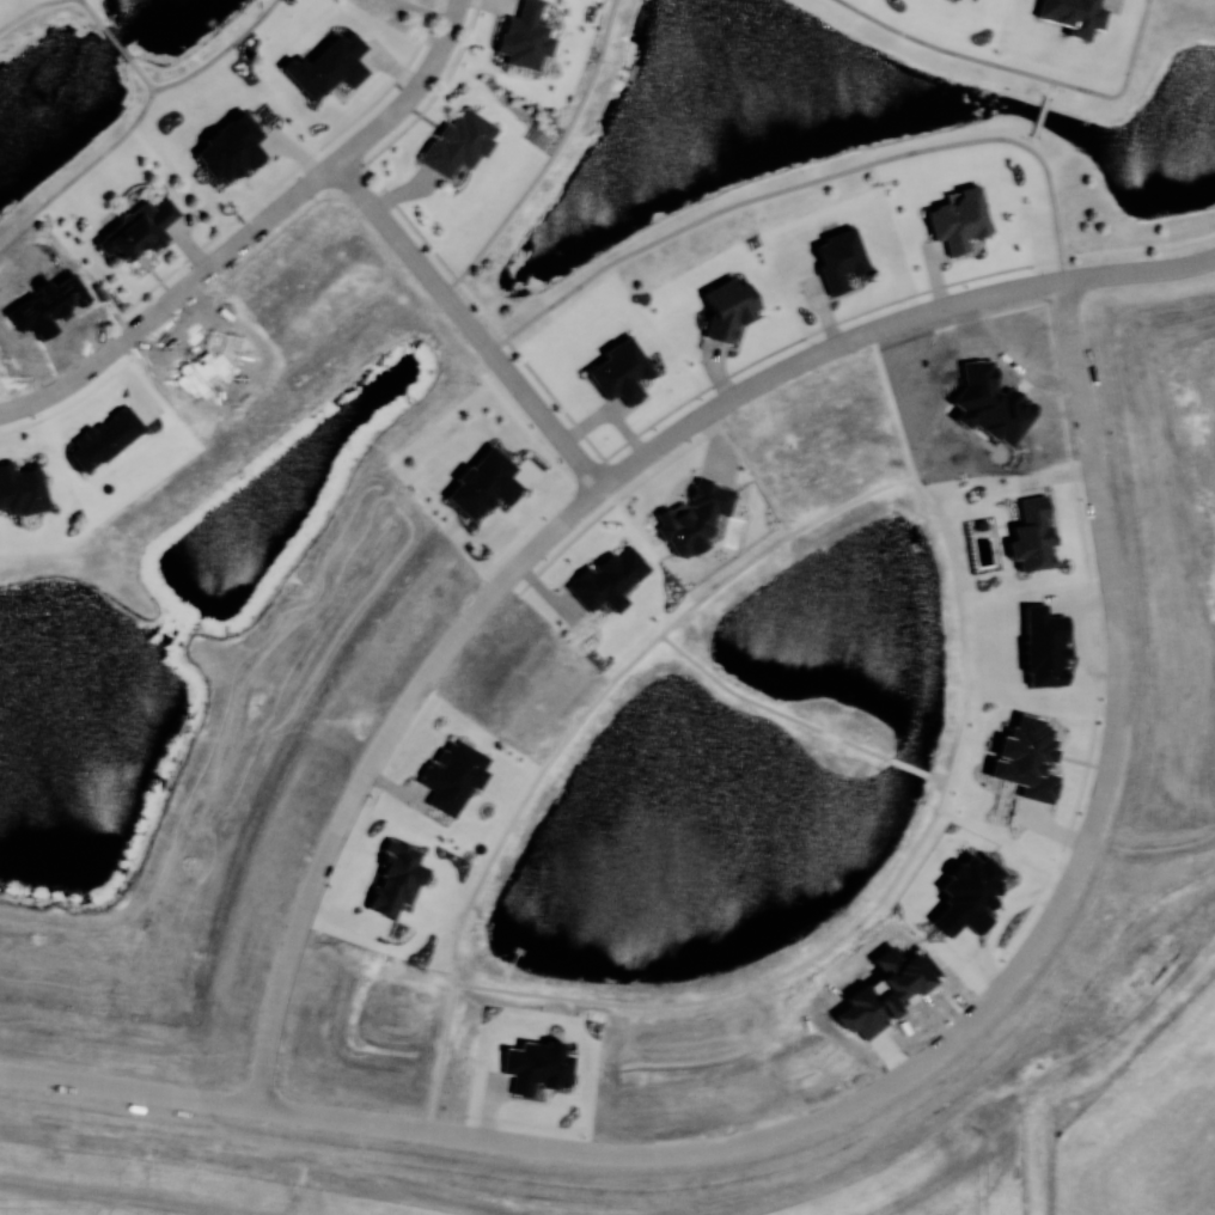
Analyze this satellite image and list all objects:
road: (422, 10)
road: (28, 11)
road: (91, 12)
building: (1075, 16)
road: (115, 42)
road: (220, 53)
road: (1022, 72)
road: (141, 75)
road: (1048, 88)
road: (429, 100)
road: (1038, 117)
building: (459, 142)
road: (1030, 142)
road: (550, 159)
road: (83, 171)
road: (808, 183)
road: (403, 213)
building: (140, 231)
road: (254, 231)
building: (841, 261)
road: (883, 305)
road: (481, 307)
building: (728, 309)
road: (468, 325)
road: (560, 407)
road: (575, 508)
road: (1106, 579)
road: (769, 708)
road: (569, 732)
road: (910, 768)
road: (940, 780)
road: (921, 837)
road: (590, 1158)

